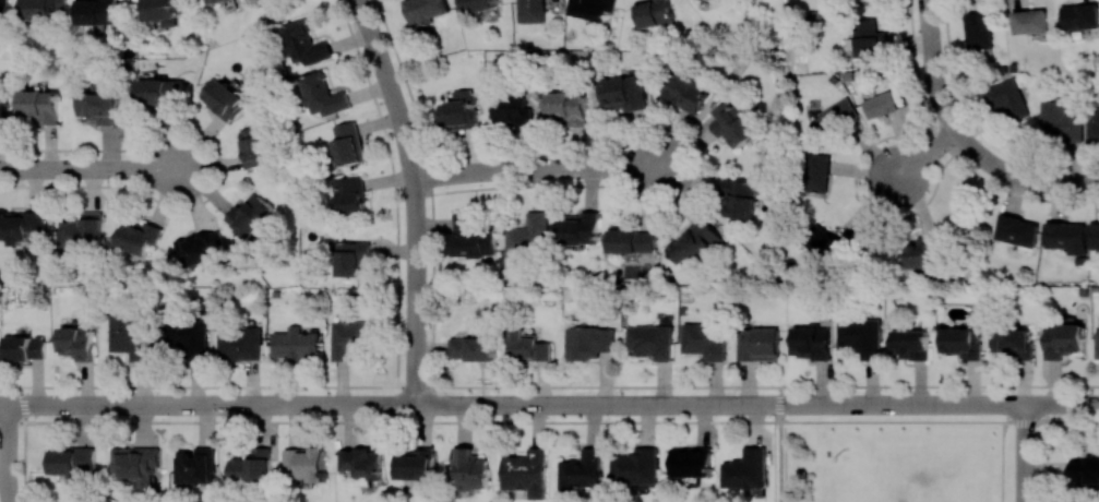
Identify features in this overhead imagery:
building: (212, 1)
building: (477, 4)
building: (43, 9)
building: (426, 9)
building: (593, 9)
building: (162, 11)
building: (530, 11)
building: (3, 12)
building: (97, 12)
building: (654, 12)
building: (1080, 16)
building: (1029, 21)
building: (978, 29)
building: (869, 38)
building: (304, 43)
road: (374, 49)
road: (932, 68)
building: (160, 91)
building: (685, 91)
building: (624, 92)
building: (322, 94)
building: (1006, 97)
building: (223, 98)
building: (882, 104)
building: (39, 106)
building: (99, 107)
building: (568, 107)
building: (2, 109)
building: (513, 109)
building: (461, 110)
building: (835, 117)
building: (1060, 122)
building: (732, 123)
building: (1092, 124)
building: (348, 143)
building: (254, 146)
road: (925, 154)
road: (91, 167)
road: (537, 167)
building: (817, 171)
road: (1019, 176)
building: (350, 195)
building: (740, 198)
building: (249, 214)
building: (21, 227)
building: (580, 229)
building: (1016, 230)
building: (83, 231)
building: (529, 234)
building: (1064, 235)
building: (1094, 235)
building: (138, 236)
building: (473, 236)
building: (632, 240)
building: (695, 241)
building: (822, 242)
building: (199, 248)
road: (416, 250)
building: (920, 254)
building: (353, 258)
building: (132, 335)
building: (861, 336)
building: (349, 337)
building: (187, 338)
building: (704, 339)
building: (1063, 339)
building: (649, 340)
building: (79, 342)
building: (588, 342)
building: (810, 342)
building: (963, 342)
building: (239, 343)
building: (295, 343)
building: (757, 343)
building: (1013, 343)
building: (910, 344)
building: (528, 346)
building: (24, 347)
building: (1097, 347)
building: (473, 348)
road: (549, 385)
road: (778, 403)
road: (906, 403)
road: (1062, 403)
road: (24, 404)
road: (207, 404)
road: (595, 404)
road: (780, 404)
road: (1073, 420)
road: (501, 421)
road: (1025, 421)
park: (899, 452)
road: (1025, 452)
road: (9, 453)
building: (363, 461)
building: (691, 461)
road: (24, 462)
building: (74, 462)
road: (778, 462)
road: (1002, 462)
road: (1046, 462)
building: (139, 463)
building: (306, 463)
building: (416, 463)
building: (195, 465)
building: (251, 466)
building: (636, 466)
building: (471, 468)
building: (746, 469)
building: (583, 470)
building: (1086, 470)
building: (527, 471)

